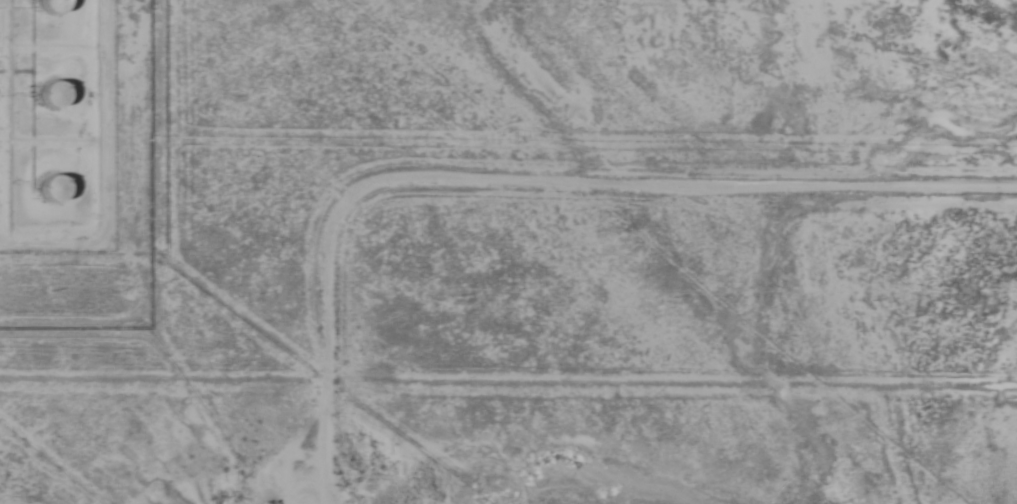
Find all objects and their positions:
building: (46, 95)
building: (48, 189)

